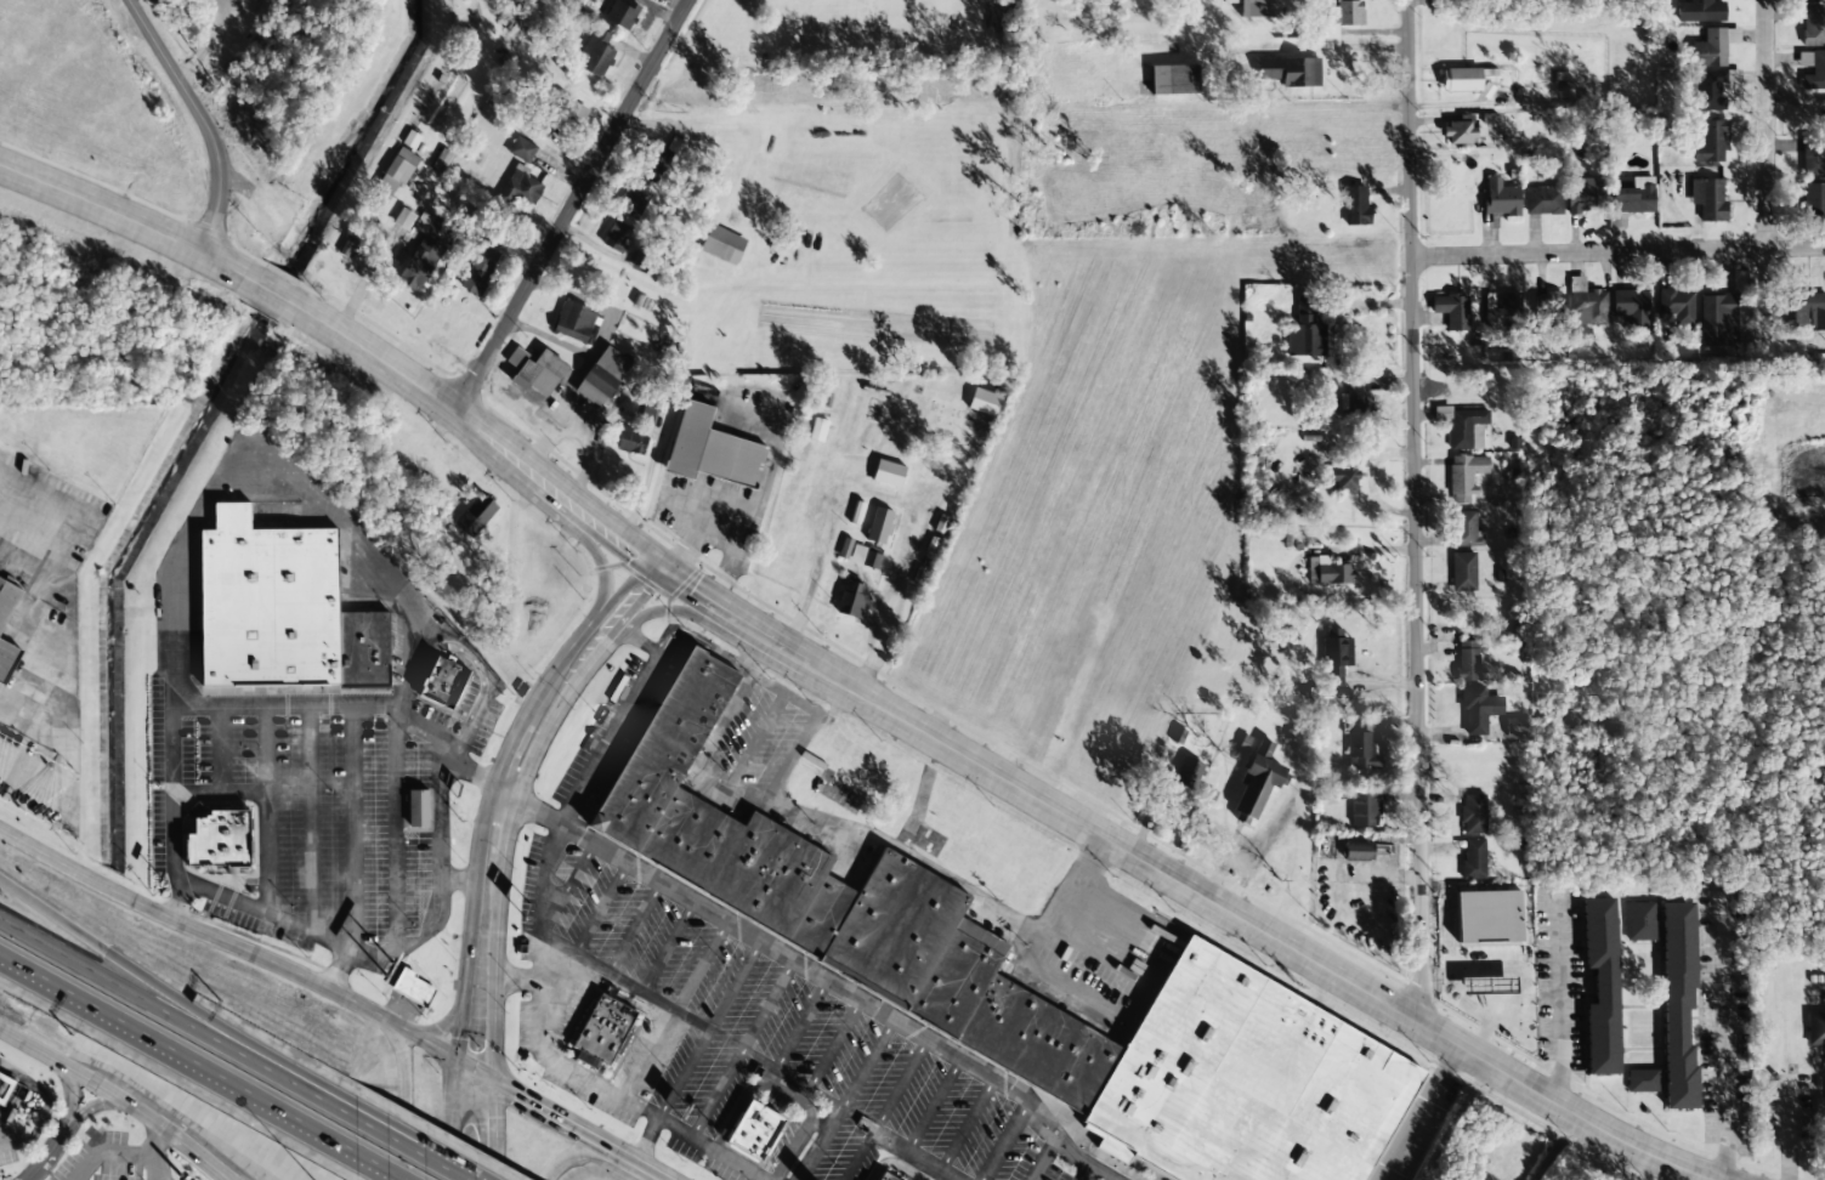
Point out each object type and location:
building: (1812, 0)
building: (576, 1)
building: (1229, 1)
building: (1258, 8)
building: (1700, 11)
building: (624, 13)
building: (1342, 17)
building: (1813, 25)
building: (1732, 35)
building: (1710, 49)
building: (596, 52)
building: (1812, 69)
building: (1291, 70)
building: (1174, 79)
building: (1461, 79)
building: (1708, 90)
building: (569, 112)
road: (199, 118)
building: (410, 140)
building: (1710, 142)
building: (522, 149)
building: (1813, 158)
building: (442, 160)
building: (656, 163)
building: (397, 171)
road: (1768, 171)
building: (521, 187)
building: (1585, 195)
building: (1634, 197)
road: (574, 198)
building: (1501, 198)
building: (1708, 199)
building: (1813, 199)
building: (1542, 200)
building: (634, 202)
building: (1354, 205)
building: (403, 219)
road: (159, 231)
building: (617, 237)
building: (722, 244)
road: (1619, 251)
building: (423, 253)
building: (647, 265)
building: (478, 270)
building: (1548, 301)
building: (1631, 306)
building: (1678, 306)
building: (1506, 308)
building: (1809, 310)
building: (1452, 311)
building: (1718, 319)
building: (576, 322)
building: (1305, 333)
building: (1582, 336)
building: (537, 373)
building: (602, 376)
road: (1781, 387)
building: (1355, 397)
building: (985, 401)
road: (488, 416)
building: (1466, 429)
building: (817, 430)
building: (631, 442)
building: (712, 450)
building: (888, 473)
building: (1464, 476)
building: (1345, 480)
road: (1416, 512)
building: (476, 516)
building: (880, 526)
building: (1467, 531)
building: (845, 548)
building: (865, 557)
road: (171, 563)
building: (1327, 571)
building: (1463, 572)
building: (285, 596)
building: (852, 600)
building: (7, 601)
road: (642, 642)
road: (759, 647)
building: (1334, 656)
building: (1469, 659)
building: (7, 660)
building: (461, 674)
building: (443, 683)
road: (483, 683)
road: (635, 698)
building: (1478, 709)
building: (1515, 727)
road: (221, 747)
road: (508, 748)
building: (1362, 750)
building: (1188, 773)
road: (780, 775)
road: (713, 782)
building: (1258, 782)
road: (521, 784)
road: (220, 792)
building: (440, 801)
road: (266, 807)
building: (418, 809)
building: (1364, 809)
road: (172, 810)
building: (1473, 813)
road: (310, 817)
road: (395, 824)
road: (352, 826)
building: (236, 832)
building: (1358, 851)
building: (1473, 858)
road: (1178, 874)
road: (571, 879)
road: (457, 880)
road: (440, 884)
building: (861, 897)
road: (601, 907)
building: (1487, 918)
building: (1640, 921)
road: (285, 923)
road: (634, 926)
road: (197, 927)
road: (668, 946)
road: (701, 965)
road: (824, 978)
road: (624, 980)
building: (1602, 986)
road: (158, 988)
building: (413, 988)
building: (1474, 989)
building: (1678, 1004)
road: (177, 1017)
road: (437, 1023)
road: (801, 1025)
building: (602, 1027)
road: (709, 1027)
building: (1815, 1028)
traffic signals: (458, 1038)
road: (426, 1043)
road: (834, 1044)
road: (741, 1046)
road: (176, 1054)
road: (494, 1065)
road: (450, 1076)
road: (790, 1078)
building: (13, 1079)
building: (1259, 1079)
building: (1642, 1080)
road: (603, 1084)
road: (73, 1091)
traffic signals: (516, 1091)
road: (117, 1096)
road: (846, 1099)
road: (532, 1100)
road: (401, 1104)
road: (92, 1105)
road: (934, 1105)
road: (885, 1108)
road: (1418, 1112)
traffic signals: (498, 1117)
road: (967, 1123)
road: (498, 1129)
building: (753, 1130)
road: (647, 1138)
road: (1004, 1141)
road: (409, 1150)
road: (571, 1151)
road: (49, 1152)
road: (914, 1156)
road: (1042, 1158)
road: (640, 1162)
road: (379, 1165)
road: (450, 1169)
road: (1086, 1173)
building: (908, 1175)
building: (884, 1176)

